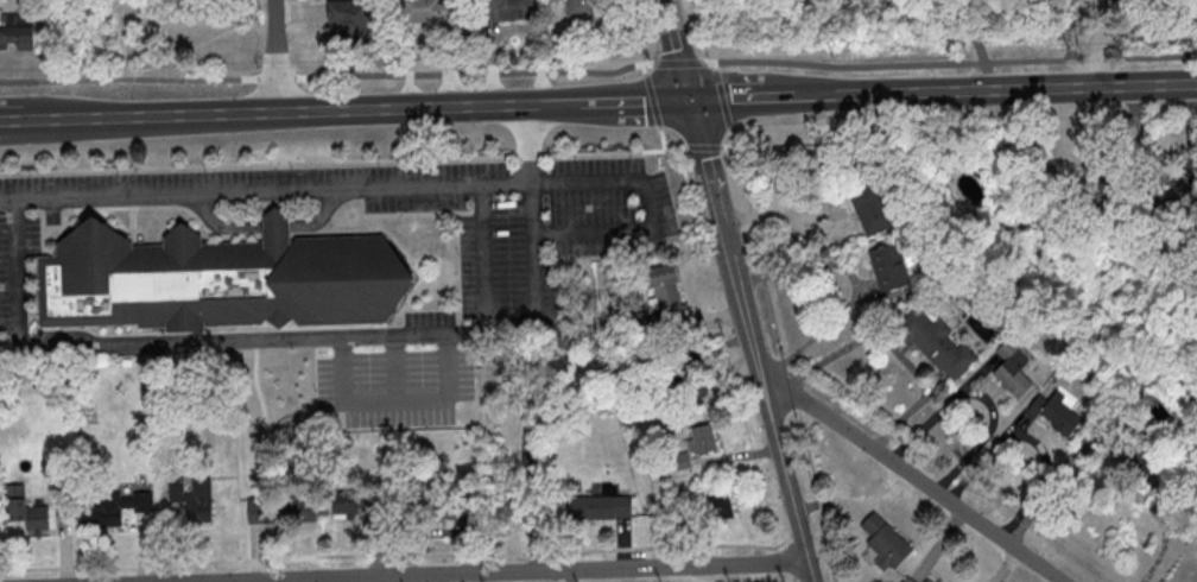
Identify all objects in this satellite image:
building: (579, 7)
building: (508, 8)
building: (432, 12)
building: (350, 19)
building: (18, 32)
road: (978, 43)
road: (680, 48)
road: (275, 55)
road: (598, 70)
road: (1026, 83)
road: (842, 89)
road: (759, 93)
traffic signals: (693, 97)
road: (629, 99)
road: (423, 105)
road: (139, 113)
building: (1127, 172)
road: (249, 186)
road: (712, 189)
road: (647, 196)
building: (873, 208)
road: (323, 211)
road: (214, 222)
road: (277, 224)
road: (18, 260)
building: (889, 266)
building: (220, 278)
road: (855, 285)
building: (665, 292)
road: (483, 301)
road: (745, 327)
road: (242, 336)
building: (936, 342)
road: (888, 344)
building: (1013, 369)
road: (760, 380)
building: (699, 392)
road: (765, 394)
road: (981, 396)
building: (1063, 412)
road: (822, 413)
building: (702, 438)
road: (1032, 441)
road: (880, 454)
building: (530, 455)
building: (1145, 456)
road: (791, 491)
building: (196, 496)
building: (445, 500)
building: (346, 505)
building: (721, 505)
building: (598, 506)
building: (116, 507)
building: (292, 508)
building: (27, 511)
road: (977, 520)
building: (886, 542)
road: (515, 572)
building: (908, 580)
building: (926, 580)

